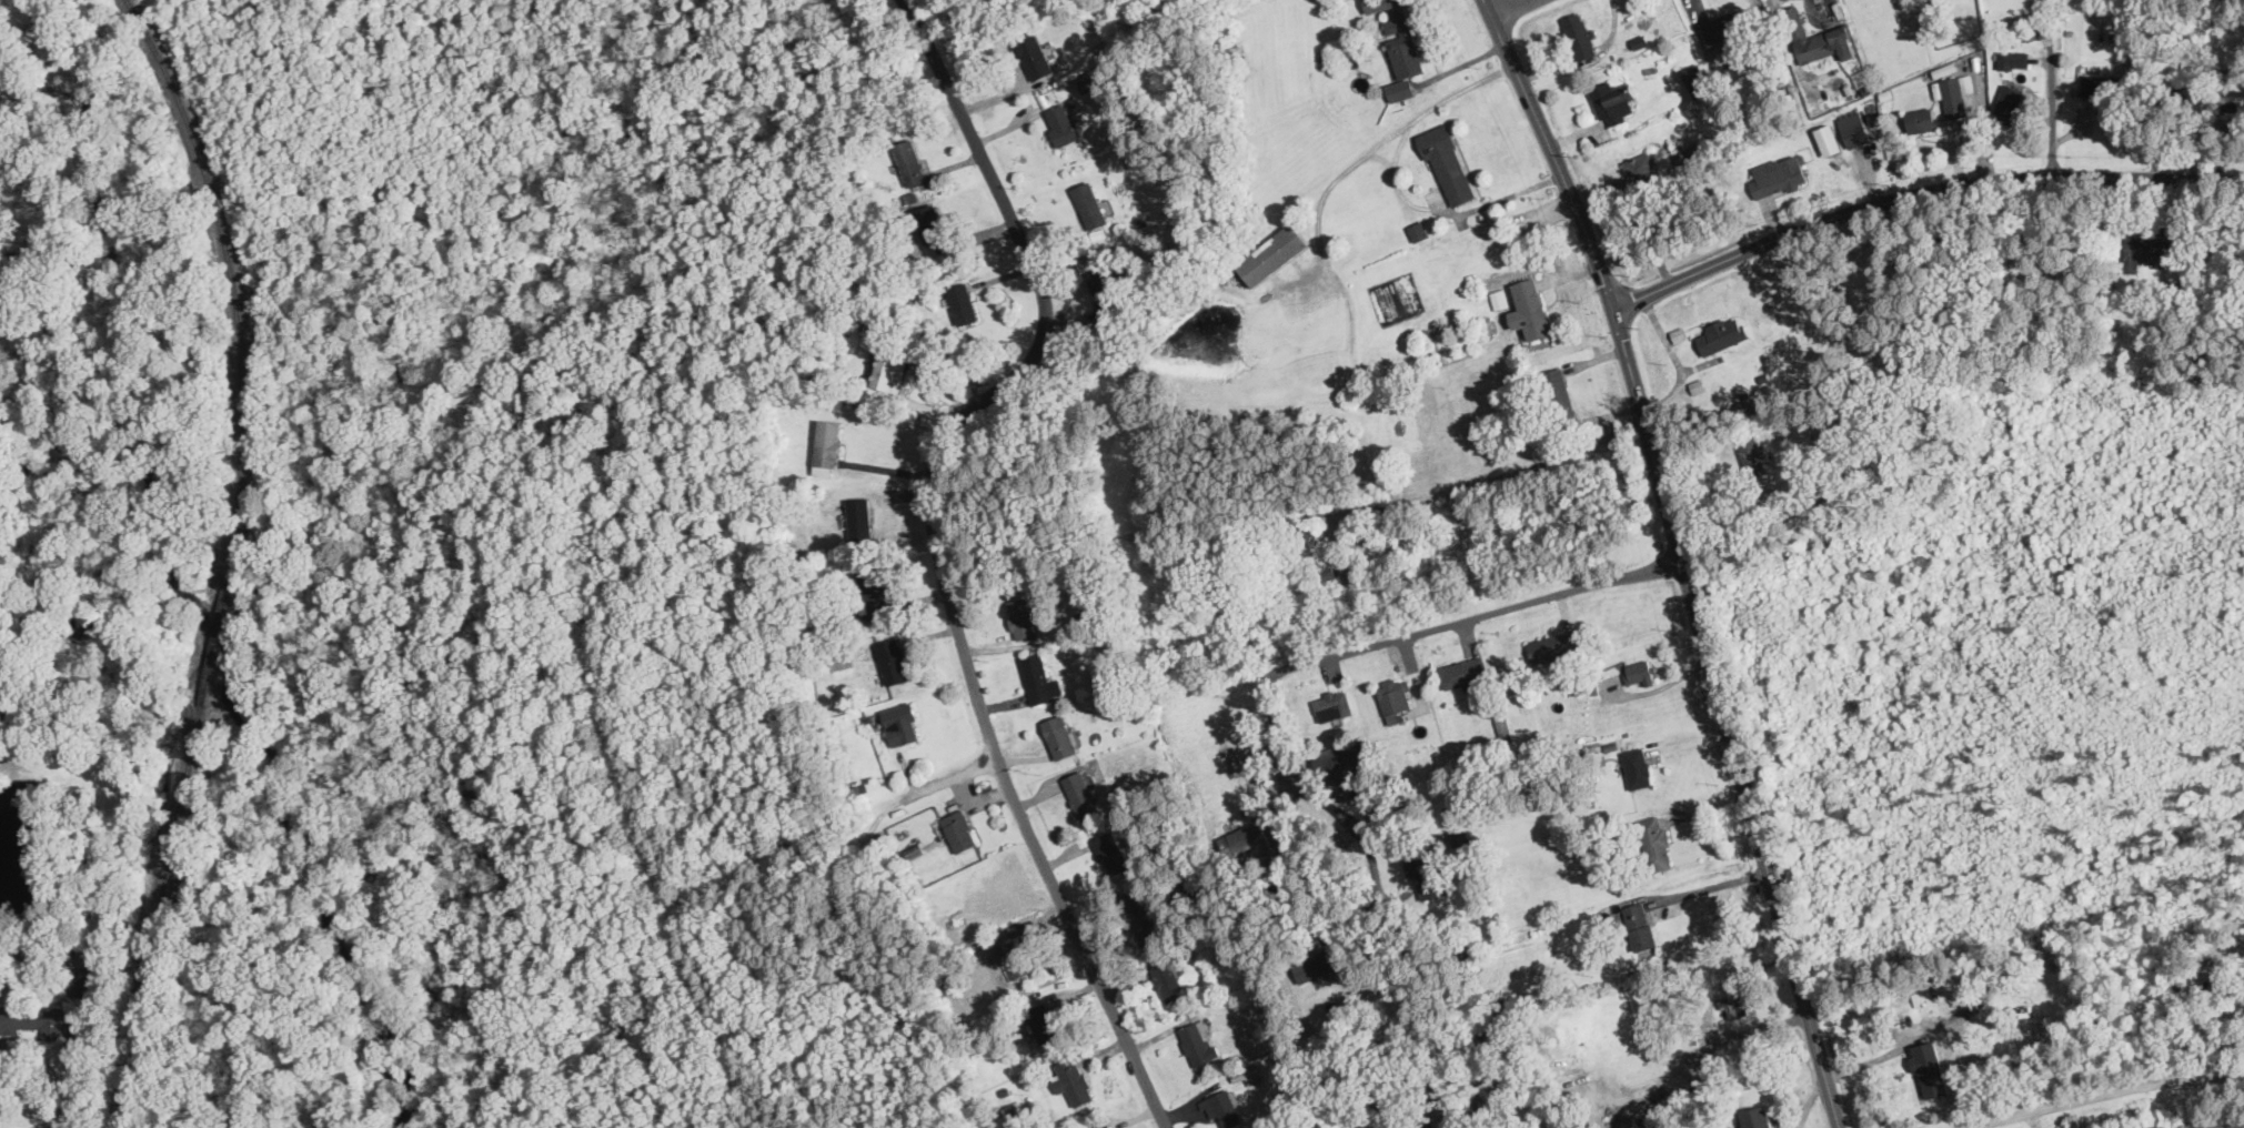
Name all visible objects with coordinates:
building: (1378, 4)
road: (1509, 8)
building: (1725, 28)
building: (1579, 34)
building: (1818, 38)
building: (1034, 53)
building: (1402, 53)
building: (2013, 58)
building: (1697, 79)
building: (2103, 84)
building: (1952, 95)
building: (1612, 99)
building: (2233, 99)
building: (2009, 101)
building: (1920, 118)
building: (1060, 123)
building: (1853, 128)
road: (1383, 139)
building: (1829, 139)
building: (1689, 152)
building: (910, 161)
building: (1448, 164)
building: (1642, 169)
building: (1780, 175)
road: (1918, 193)
building: (1089, 204)
road: (1445, 211)
building: (1417, 229)
building: (933, 231)
building: (2145, 249)
building: (1272, 253)
railway: (232, 280)
building: (1105, 295)
building: (963, 302)
traffic signals: (1613, 308)
building: (1529, 309)
building: (1721, 333)
building: (889, 372)
building: (1557, 394)
building: (828, 446)
building: (1752, 456)
road: (1490, 477)
building: (859, 517)
road: (937, 546)
building: (1314, 554)
road: (1681, 556)
road: (95, 588)
building: (873, 592)
building: (1022, 617)
building: (1086, 617)
railway: (217, 643)
building: (1553, 645)
road: (1325, 656)
building: (841, 659)
building: (893, 659)
building: (1639, 671)
building: (1466, 673)
building: (1039, 678)
road: (1664, 685)
building: (1393, 698)
building: (1332, 705)
building: (902, 723)
building: (1060, 735)
building: (1344, 767)
building: (1637, 767)
road: (953, 775)
building: (1081, 794)
building: (1402, 812)
building: (959, 829)
building: (1653, 843)
building: (1109, 852)
building: (1426, 873)
road: (1714, 884)
building: (1141, 917)
railway: (161, 918)
building: (1639, 925)
building: (88, 954)
building: (1013, 958)
building: (1316, 965)
building: (1168, 980)
building: (1270, 1009)
building: (33, 1018)
building: (1043, 1021)
building: (1198, 1041)
road: (80, 1055)
road: (1879, 1057)
building: (1930, 1067)
building: (1073, 1079)
road: (2103, 1089)
building: (1224, 1107)
building: (1016, 1109)
building: (1757, 1117)
building: (1106, 1126)
building: (1429, 1126)

